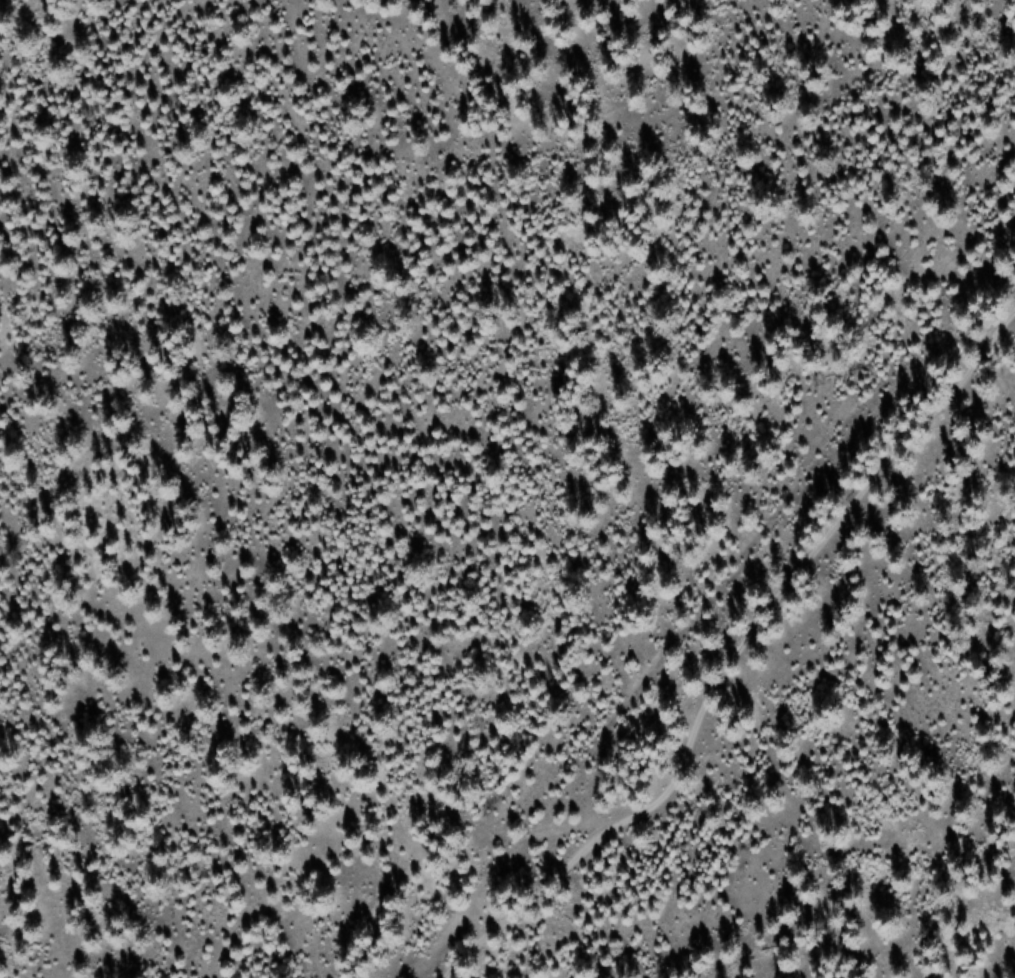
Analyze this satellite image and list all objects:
road: (736, 640)

